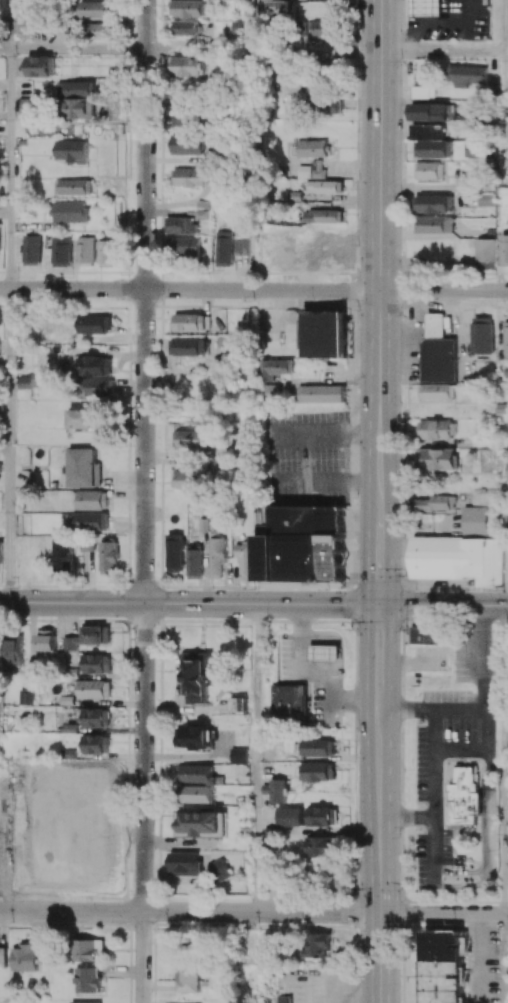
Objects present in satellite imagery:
building: (277, 7)
building: (191, 8)
building: (427, 8)
building: (96, 9)
building: (21, 20)
road: (10, 24)
road: (257, 26)
road: (502, 26)
building: (186, 28)
building: (99, 30)
building: (324, 31)
road: (5, 49)
road: (78, 49)
road: (202, 51)
road: (319, 52)
road: (505, 52)
road: (442, 53)
building: (41, 66)
building: (188, 66)
building: (468, 75)
building: (314, 87)
building: (423, 92)
building: (79, 98)
road: (503, 103)
building: (324, 106)
building: (28, 107)
building: (432, 111)
building: (187, 117)
street lamp: (356, 119)
building: (475, 120)
building: (427, 131)
building: (190, 144)
building: (311, 148)
building: (433, 149)
building: (474, 149)
building: (72, 152)
road: (10, 169)
building: (311, 170)
building: (429, 171)
building: (192, 177)
building: (74, 187)
building: (324, 187)
road: (437, 189)
street lamp: (400, 196)
building: (433, 203)
building: (71, 212)
building: (322, 216)
building: (181, 225)
building: (433, 225)
building: (0, 238)
street lamp: (357, 245)
building: (183, 246)
building: (241, 246)
building: (224, 248)
building: (505, 249)
building: (32, 250)
building: (85, 250)
building: (108, 253)
building: (60, 254)
building: (485, 254)
road: (381, 256)
road: (190, 290)
road: (444, 292)
street lamp: (311, 300)
road: (145, 301)
street lamp: (356, 311)
building: (191, 322)
building: (94, 324)
building: (322, 334)
building: (482, 335)
building: (506, 340)
building: (188, 347)
building: (438, 350)
building: (95, 366)
building: (273, 368)
building: (99, 388)
building: (268, 392)
building: (436, 392)
building: (320, 393)
street lamp: (400, 404)
building: (84, 419)
building: (435, 430)
building: (191, 439)
road: (10, 446)
parking lot: (307, 458)
building: (437, 458)
building: (83, 468)
building: (507, 477)
building: (184, 480)
street lamp: (356, 497)
building: (91, 500)
building: (433, 504)
building: (91, 521)
building: (473, 522)
building: (301, 543)
building: (1, 553)
building: (175, 553)
building: (63, 556)
building: (218, 556)
building: (109, 557)
building: (246, 559)
road: (378, 559)
building: (458, 559)
building: (195, 563)
street lamp: (403, 576)
street lamp: (327, 589)
street lamp: (494, 590)
road: (253, 604)
traffic signals: (378, 606)
street lamp: (266, 618)
street lamp: (350, 630)
street lamp: (284, 632)
street lamp: (402, 632)
building: (426, 636)
building: (88, 637)
building: (46, 641)
building: (13, 649)
building: (325, 654)
road: (378, 658)
building: (96, 664)
building: (200, 675)
building: (93, 689)
building: (26, 697)
building: (239, 705)
building: (287, 705)
road: (433, 710)
street lamp: (341, 715)
building: (96, 718)
building: (193, 738)
street lamp: (356, 740)
building: (95, 744)
building: (318, 747)
building: (239, 756)
road: (255, 759)
road: (501, 760)
road: (434, 764)
street lamp: (412, 768)
building: (317, 772)
building: (194, 773)
building: (85, 786)
building: (275, 791)
building: (196, 794)
building: (465, 796)
road: (144, 803)
building: (322, 816)
building: (289, 817)
building: (203, 823)
road: (489, 829)
street lamp: (399, 838)
building: (320, 846)
road: (379, 856)
traffic signals: (380, 859)
building: (185, 864)
building: (221, 870)
building: (270, 877)
building: (507, 877)
street lamp: (349, 891)
road: (190, 912)
road: (444, 914)
street lamp: (406, 925)
traffic signals: (380, 939)
street lamp: (357, 943)
building: (318, 946)
building: (88, 950)
building: (3, 955)
building: (25, 957)
road: (501, 959)
building: (443, 966)
building: (189, 979)
building: (88, 980)
building: (283, 999)
building: (86, 1002)

